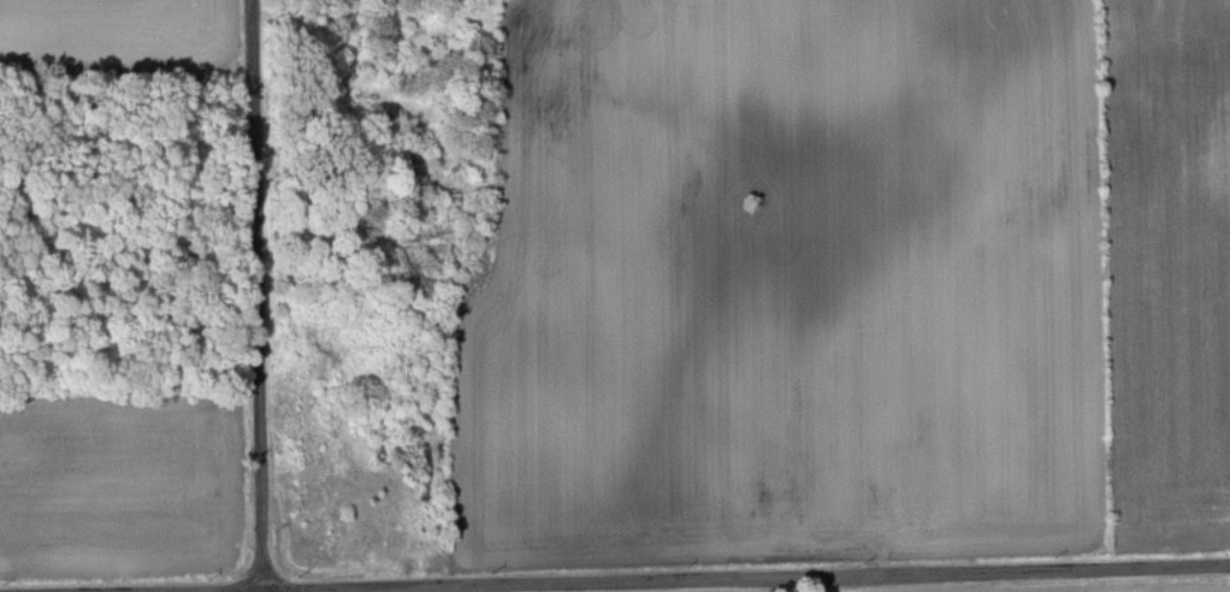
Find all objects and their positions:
road: (261, 295)
road: (770, 580)

